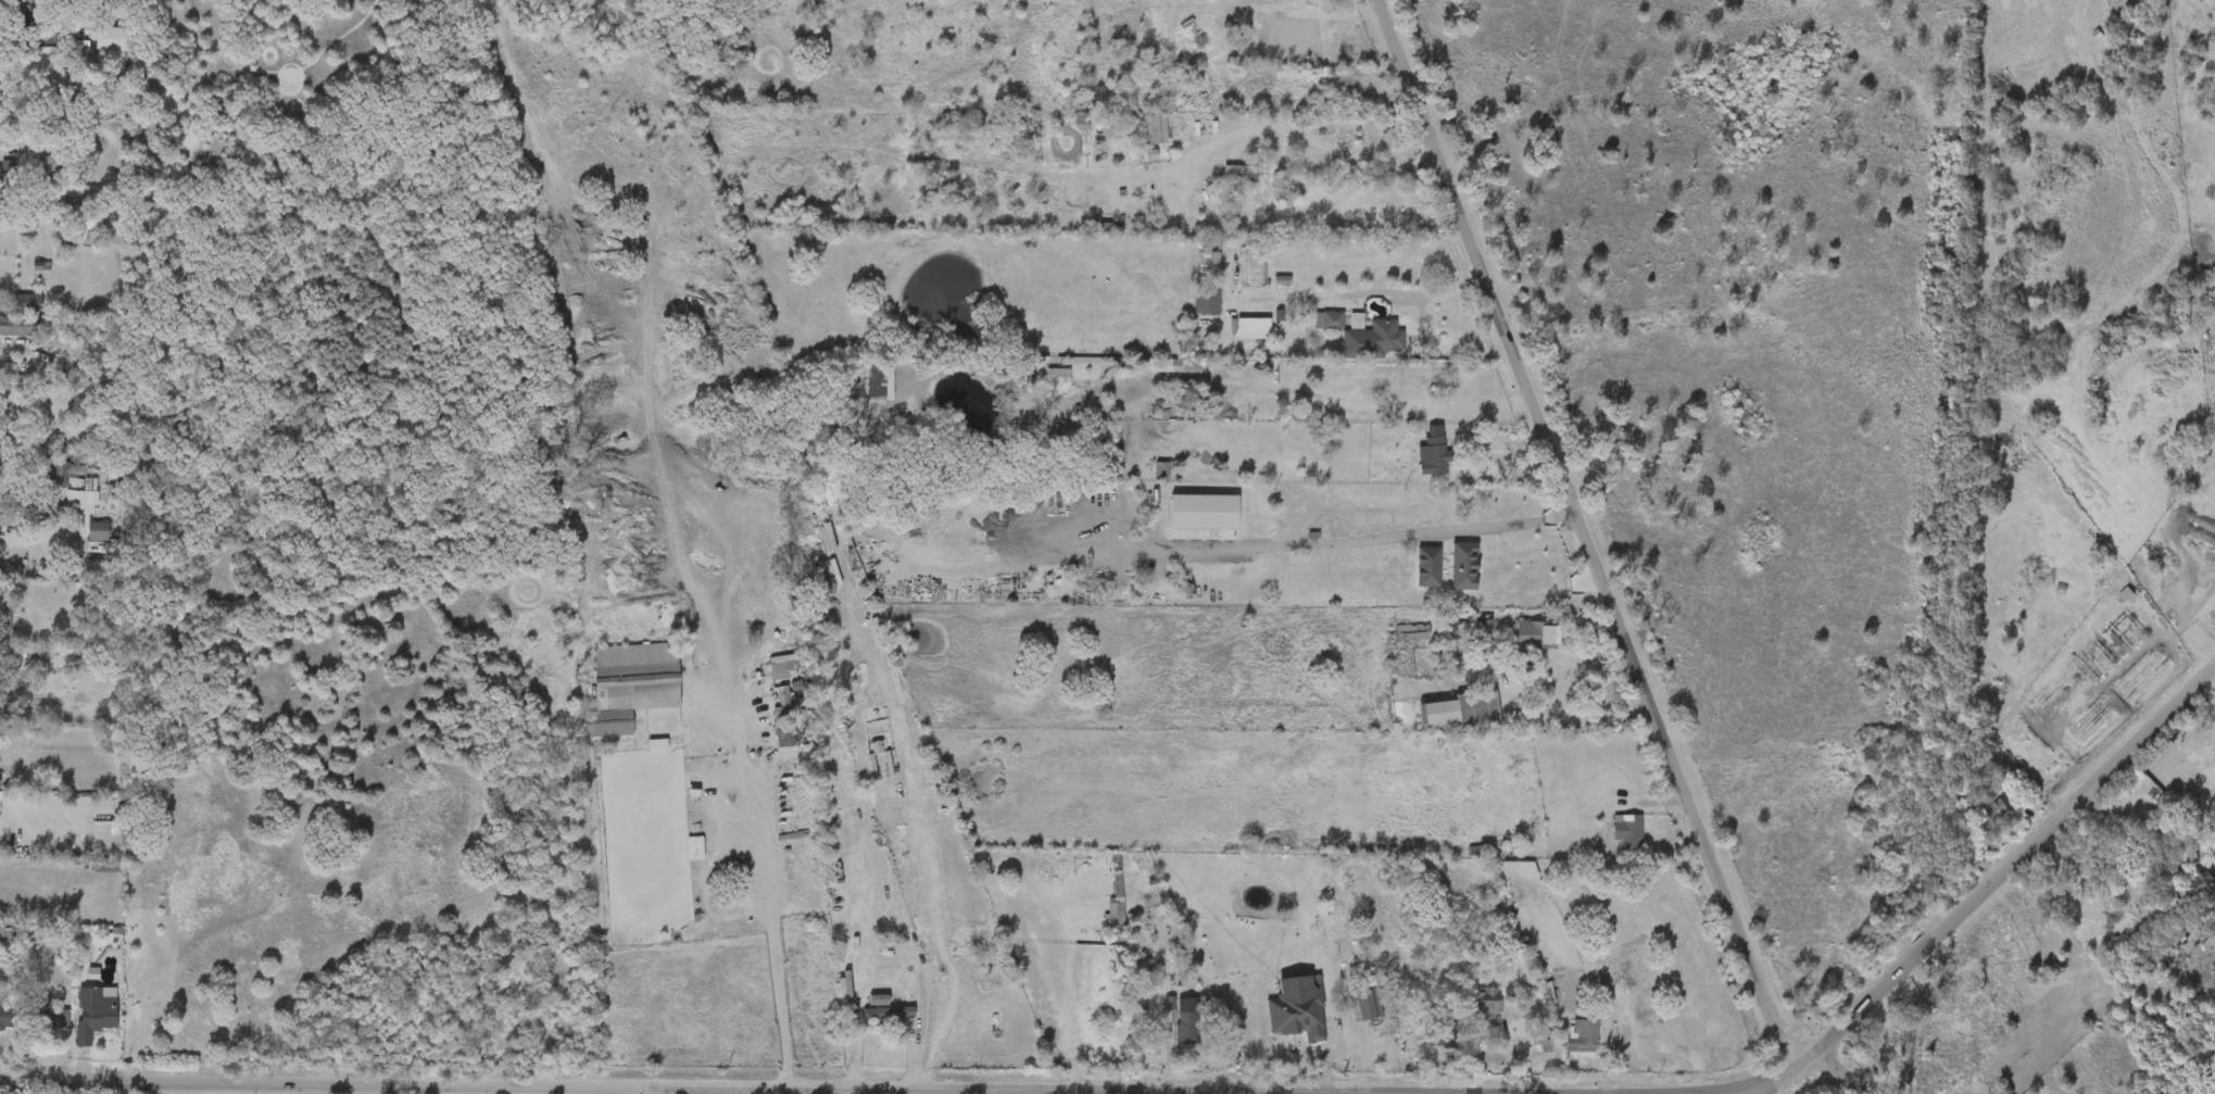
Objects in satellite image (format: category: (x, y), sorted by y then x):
building: (110, 37)
building: (92, 48)
building: (1136, 138)
road: (1314, 140)
building: (55, 165)
building: (1208, 262)
building: (1255, 266)
building: (1191, 271)
road: (1372, 291)
building: (1207, 299)
building: (29, 302)
building: (1188, 310)
building: (12, 311)
building: (1330, 320)
building: (18, 325)
building: (1253, 329)
building: (1311, 330)
building: (1234, 337)
building: (1384, 337)
building: (1355, 349)
building: (1178, 366)
building: (1157, 375)
building: (1042, 388)
building: (861, 392)
road: (1366, 402)
building: (1437, 454)
building: (1414, 465)
building: (60, 471)
building: (1143, 480)
road: (1581, 537)
building: (81, 540)
road: (1337, 541)
building: (1446, 575)
road: (1557, 614)
building: (1410, 632)
building: (1464, 636)
building: (1533, 639)
building: (785, 661)
building: (1473, 666)
building: (769, 671)
road: (2212, 680)
building: (632, 684)
building: (782, 704)
building: (1459, 708)
building: (784, 735)
building: (639, 754)
building: (859, 755)
building: (1989, 770)
building: (1996, 810)
road: (2151, 813)
building: (1978, 819)
building: (1628, 829)
building: (1610, 839)
building: (693, 847)
building: (678, 856)
road: (2014, 865)
building: (2199, 885)
building: (2181, 895)
road: (772, 902)
building: (882, 952)
building: (829, 992)
building: (1484, 1001)
building: (1371, 1004)
building: (857, 1008)
building: (1468, 1009)
building: (1300, 1011)
building: (96, 1014)
building: (1348, 1014)
building: (889, 1015)
building: (11, 1016)
building: (49, 1020)
building: (78, 1021)
building: (871, 1023)
road: (922, 1024)
building: (1169, 1029)
building: (1190, 1029)
building: (1590, 1033)
building: (1450, 1036)
building: (1541, 1039)
building: (1426, 1043)
building: (1573, 1043)
building: (1524, 1048)
road: (1839, 1069)
road: (1780, 1080)
road: (458, 1090)
road: (438, 1092)
road: (469, 1092)

